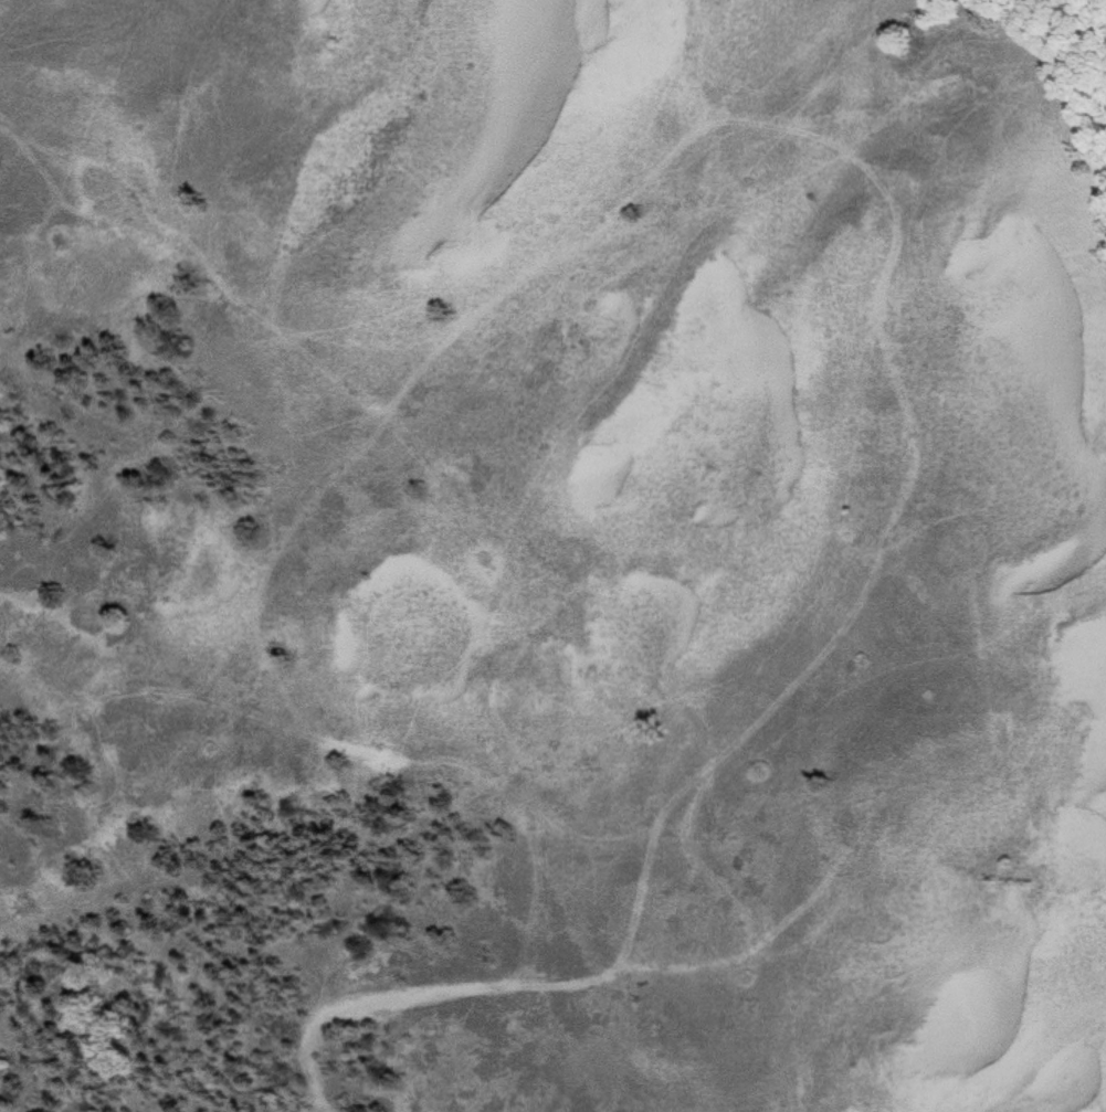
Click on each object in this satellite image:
park: (552, 555)

